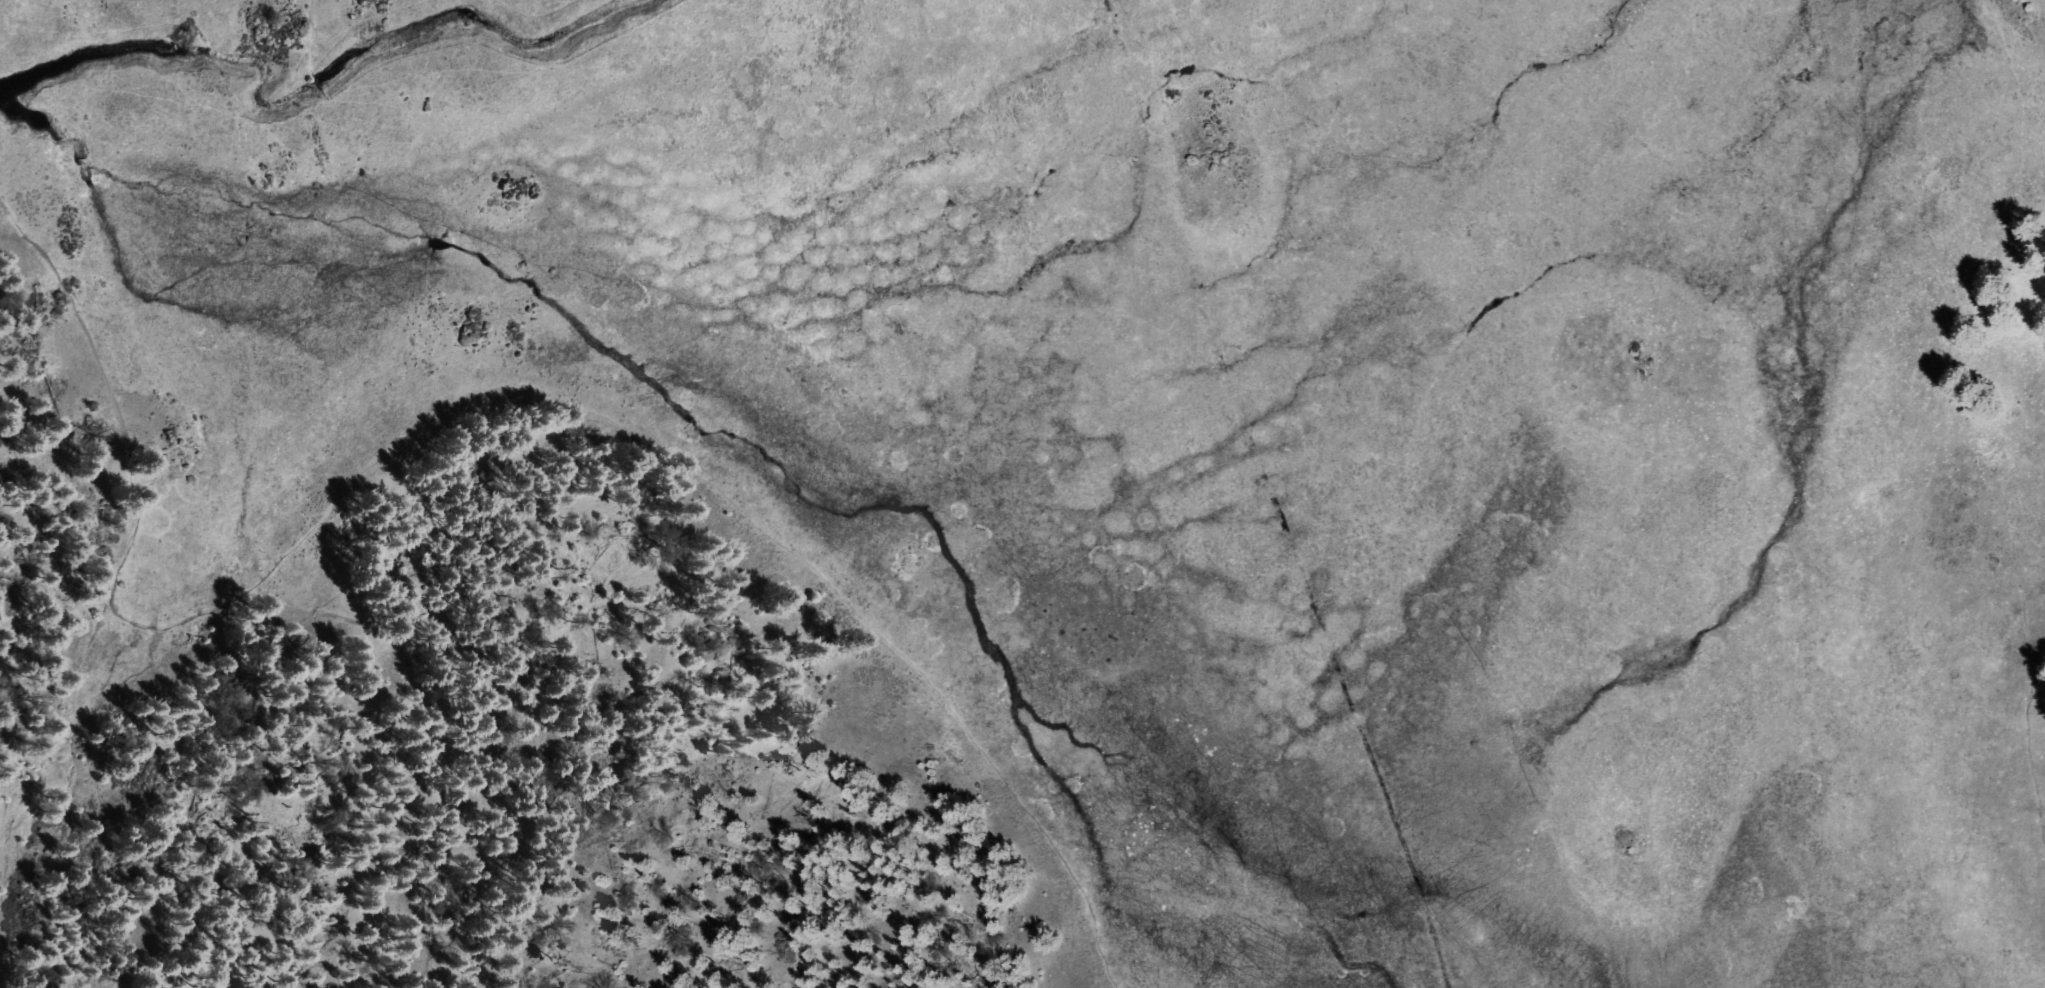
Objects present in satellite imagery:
road: (106, 393)
road: (677, 468)
road: (2018, 767)
road: (436, 808)

